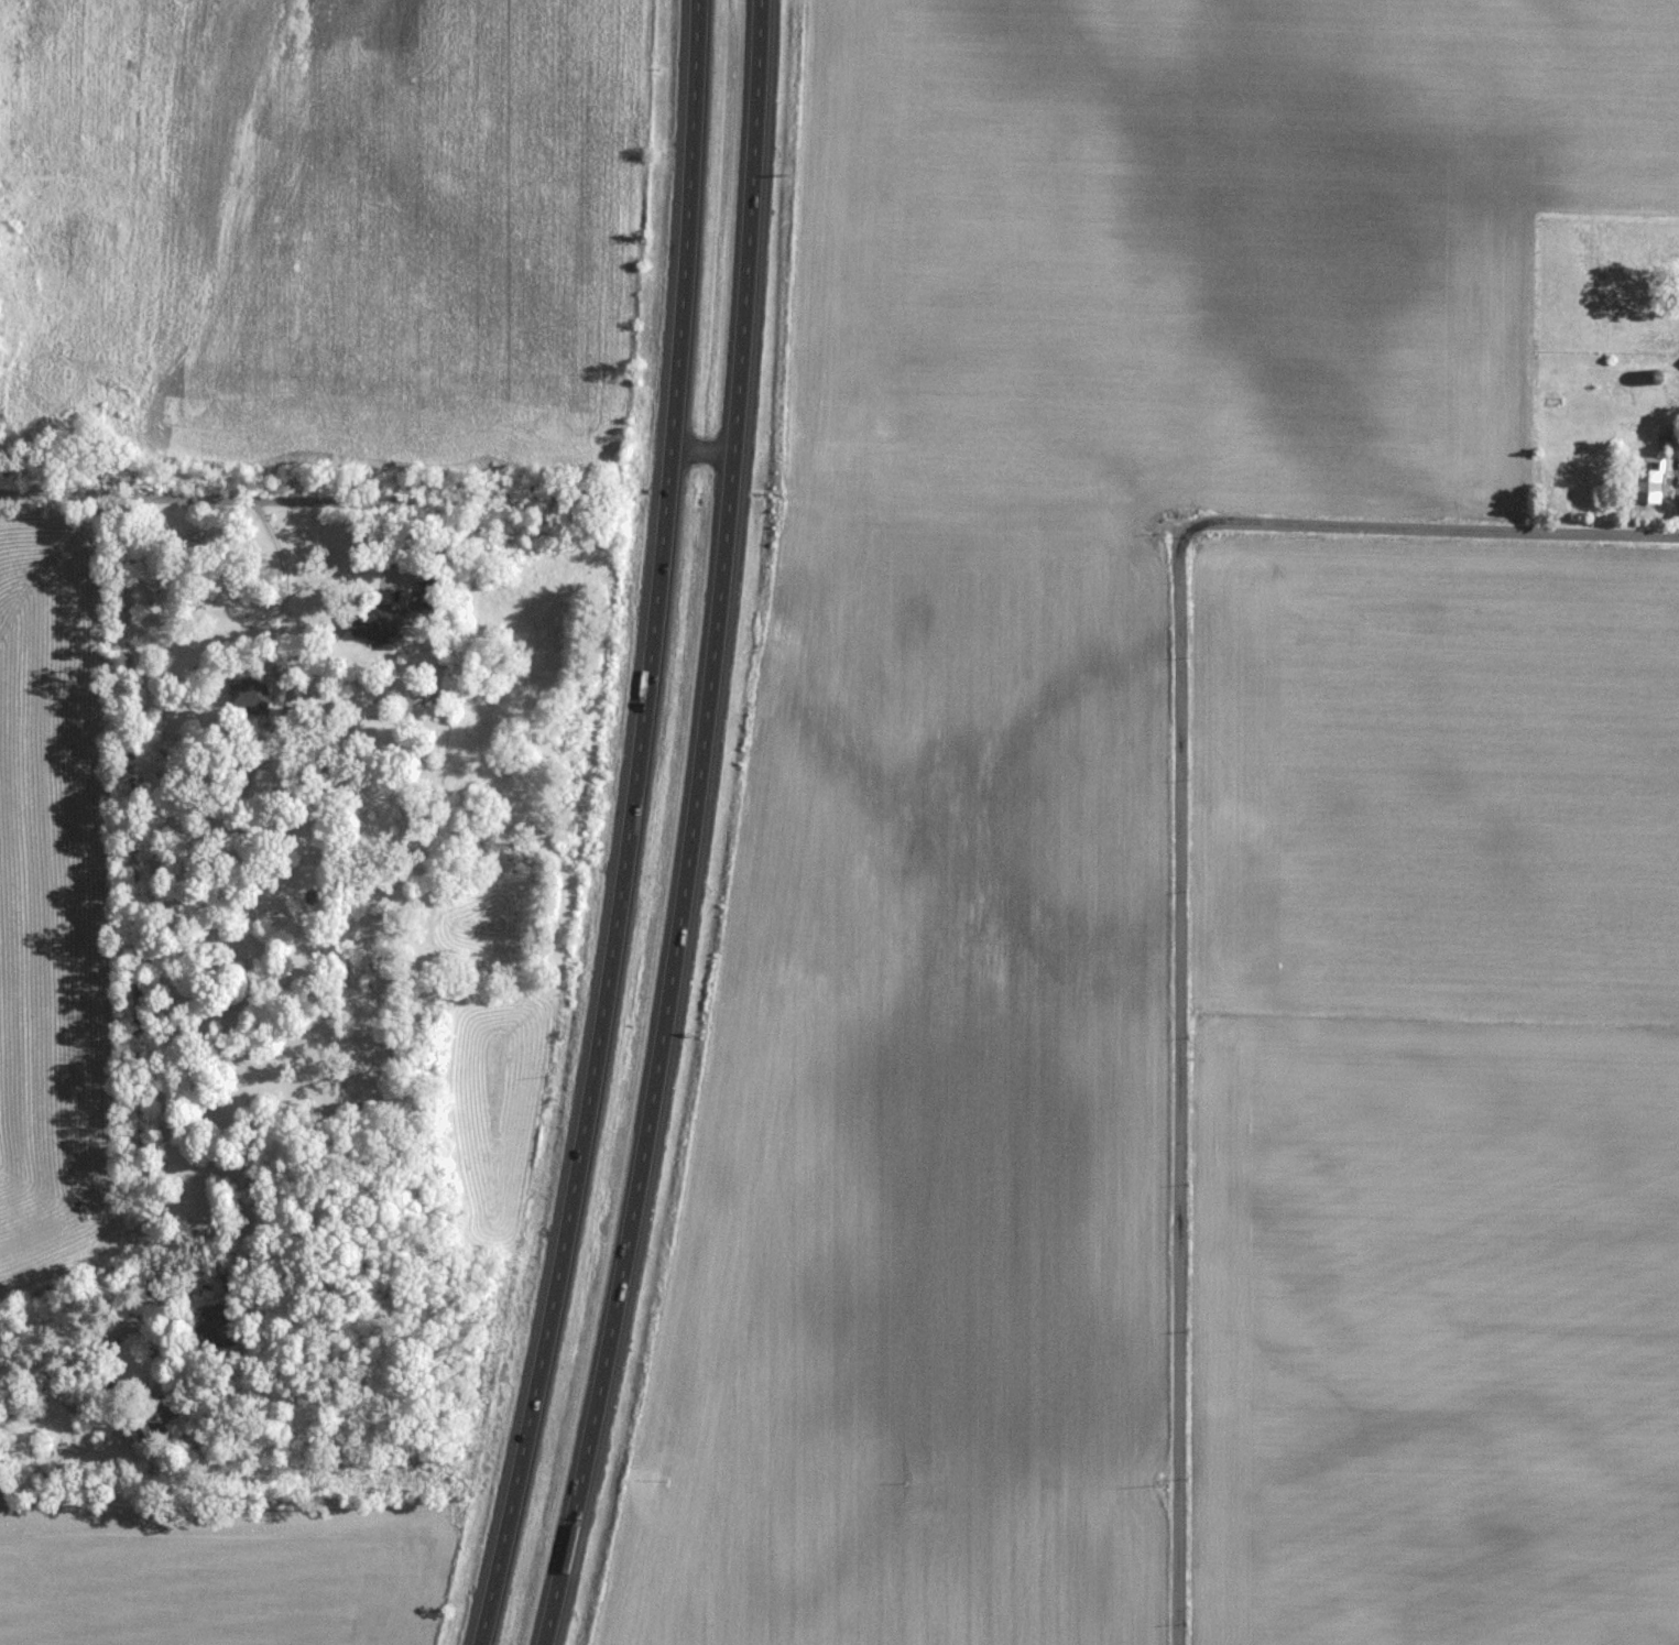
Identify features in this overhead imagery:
road: (700, 454)
building: (1651, 480)
road: (189, 497)
road: (1430, 530)
building: (428, 595)
road: (282, 613)
building: (373, 625)
building: (251, 693)
building: (272, 775)
building: (335, 783)
road: (625, 828)
road: (695, 828)
road: (131, 901)
road: (1181, 1089)
road: (129, 1412)
building: (164, 1425)

